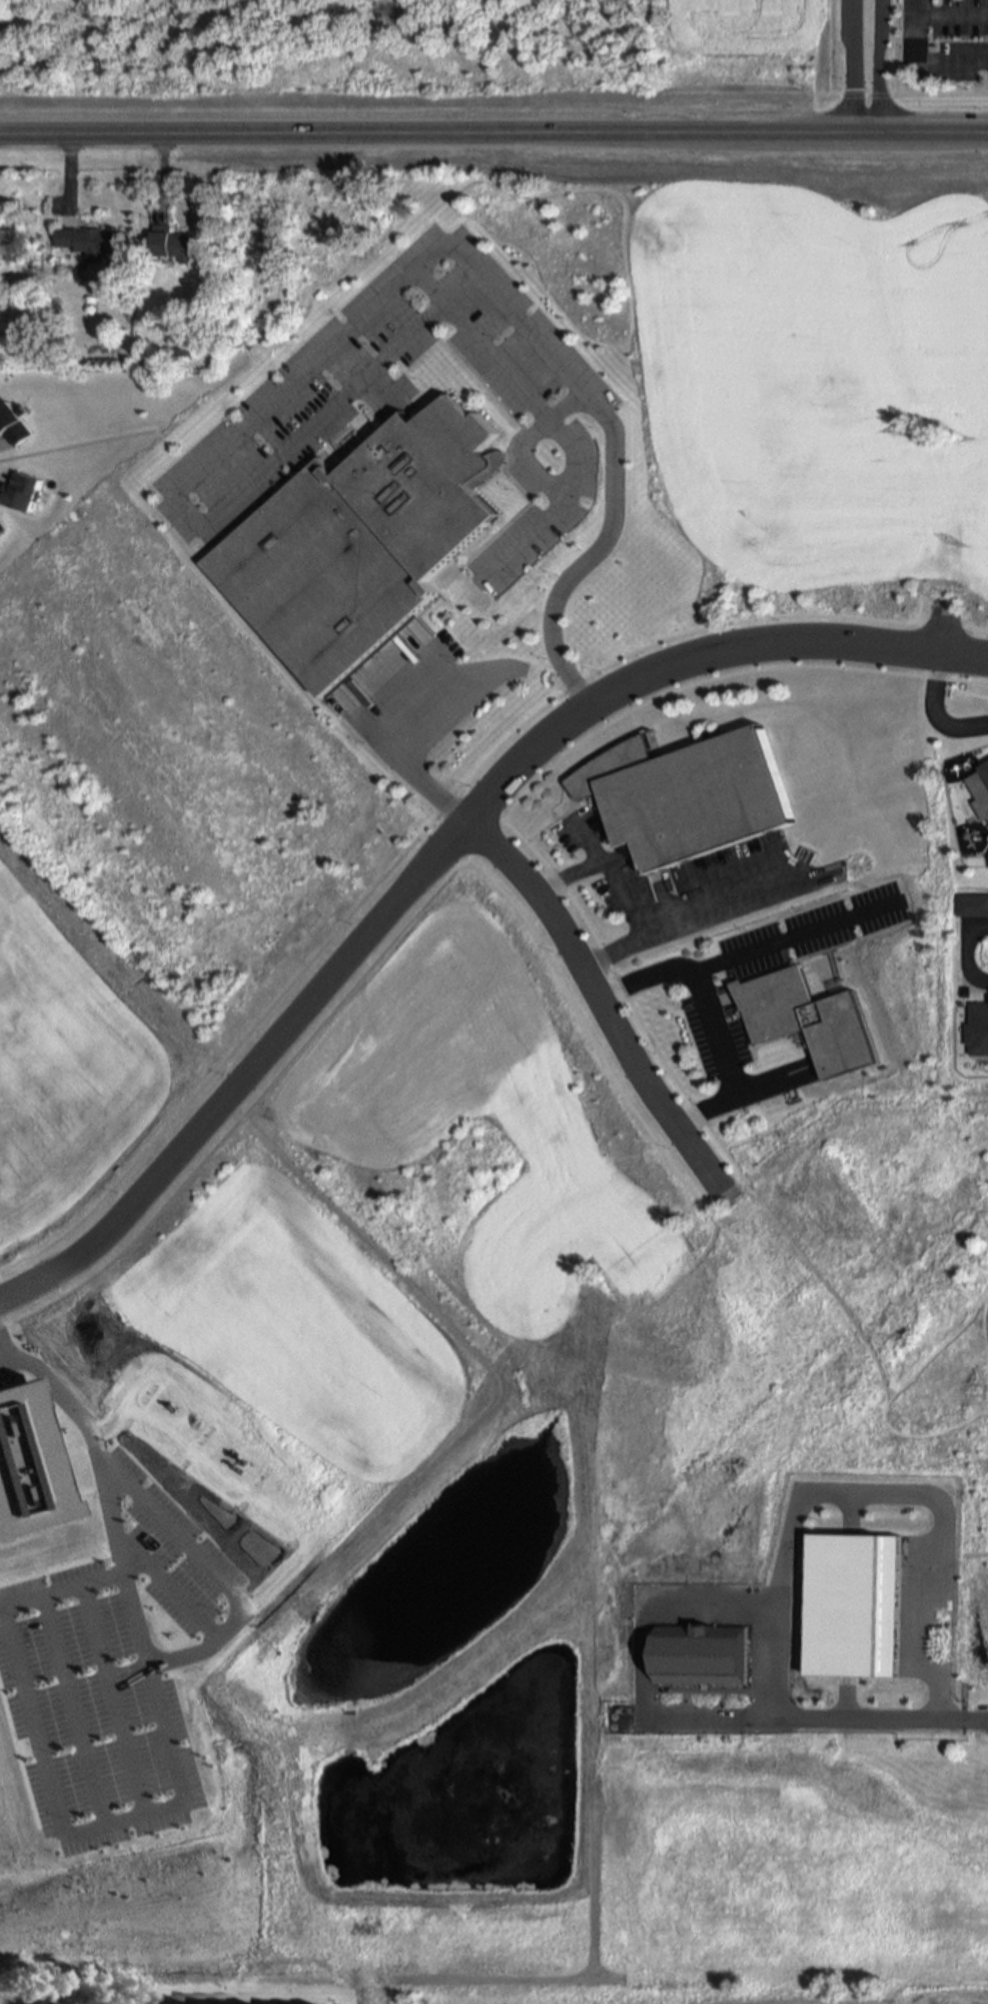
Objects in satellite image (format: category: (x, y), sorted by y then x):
road: (955, 18)
road: (921, 30)
parking lot: (944, 39)
road: (987, 46)
road: (830, 48)
road: (894, 48)
road: (954, 61)
road: (851, 66)
road: (873, 66)
road: (823, 95)
road: (493, 133)
building: (84, 241)
building: (168, 242)
building: (7, 246)
road: (429, 289)
building: (184, 347)
road: (361, 378)
parking lot: (404, 400)
building: (12, 425)
road: (74, 444)
building: (19, 492)
road: (211, 514)
building: (2, 528)
building: (358, 543)
road: (577, 569)
road: (916, 608)
road: (943, 631)
road: (716, 679)
road: (934, 711)
parking lot: (950, 714)
road: (392, 751)
building: (980, 788)
building: (686, 793)
road: (477, 805)
road: (435, 814)
road: (449, 837)
road: (478, 837)
road: (585, 839)
road: (436, 854)
road: (566, 874)
parking lot: (684, 883)
building: (972, 904)
road: (676, 913)
road: (618, 949)
parking lot: (973, 950)
road: (966, 952)
road: (743, 955)
road: (654, 974)
road: (628, 1002)
road: (604, 1007)
parking lot: (724, 1017)
building: (807, 1017)
road: (714, 1023)
building: (977, 1027)
road: (589, 1038)
road: (735, 1084)
road: (739, 1093)
road: (249, 1105)
road: (9, 1362)
road: (95, 1429)
building: (29, 1462)
road: (846, 1490)
road: (220, 1570)
road: (175, 1587)
building: (859, 1598)
road: (941, 1633)
road: (782, 1651)
building: (704, 1656)
road: (116, 1698)
road: (76, 1709)
road: (722, 1717)
road: (884, 1719)
road: (68, 1833)

